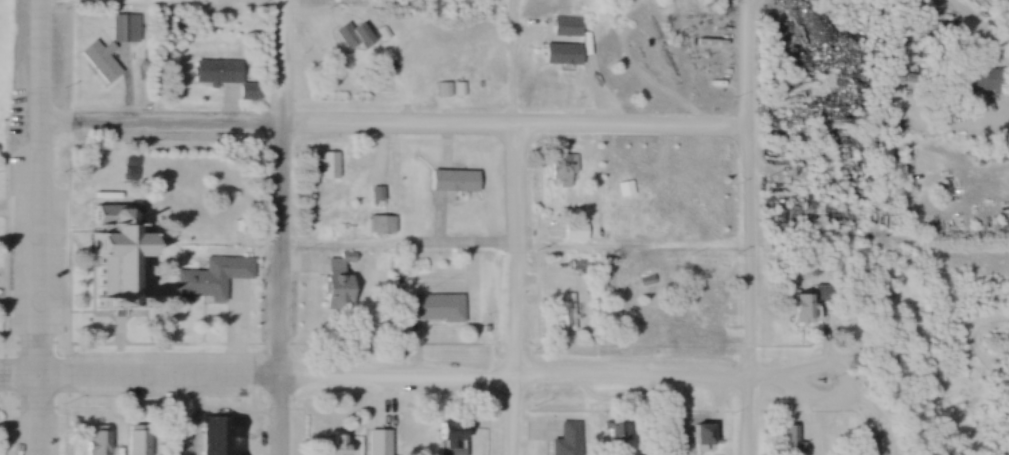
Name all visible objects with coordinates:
building: (111, 46)
building: (563, 54)
road: (746, 62)
building: (223, 76)
building: (388, 78)
building: (978, 80)
road: (391, 124)
road: (1005, 136)
building: (326, 166)
building: (560, 172)
building: (453, 181)
building: (384, 224)
road: (36, 227)
road: (278, 227)
building: (565, 231)
road: (630, 254)
building: (124, 255)
building: (211, 278)
building: (339, 283)
road: (747, 289)
road: (512, 290)
building: (809, 304)
building: (434, 308)
building: (563, 312)
building: (625, 313)
building: (700, 316)
road: (429, 378)
road: (17, 381)
building: (706, 433)
building: (227, 435)
building: (616, 435)
building: (451, 438)
building: (567, 439)
building: (95, 440)
building: (137, 440)
building: (788, 440)
building: (378, 442)
building: (335, 444)
building: (869, 446)

